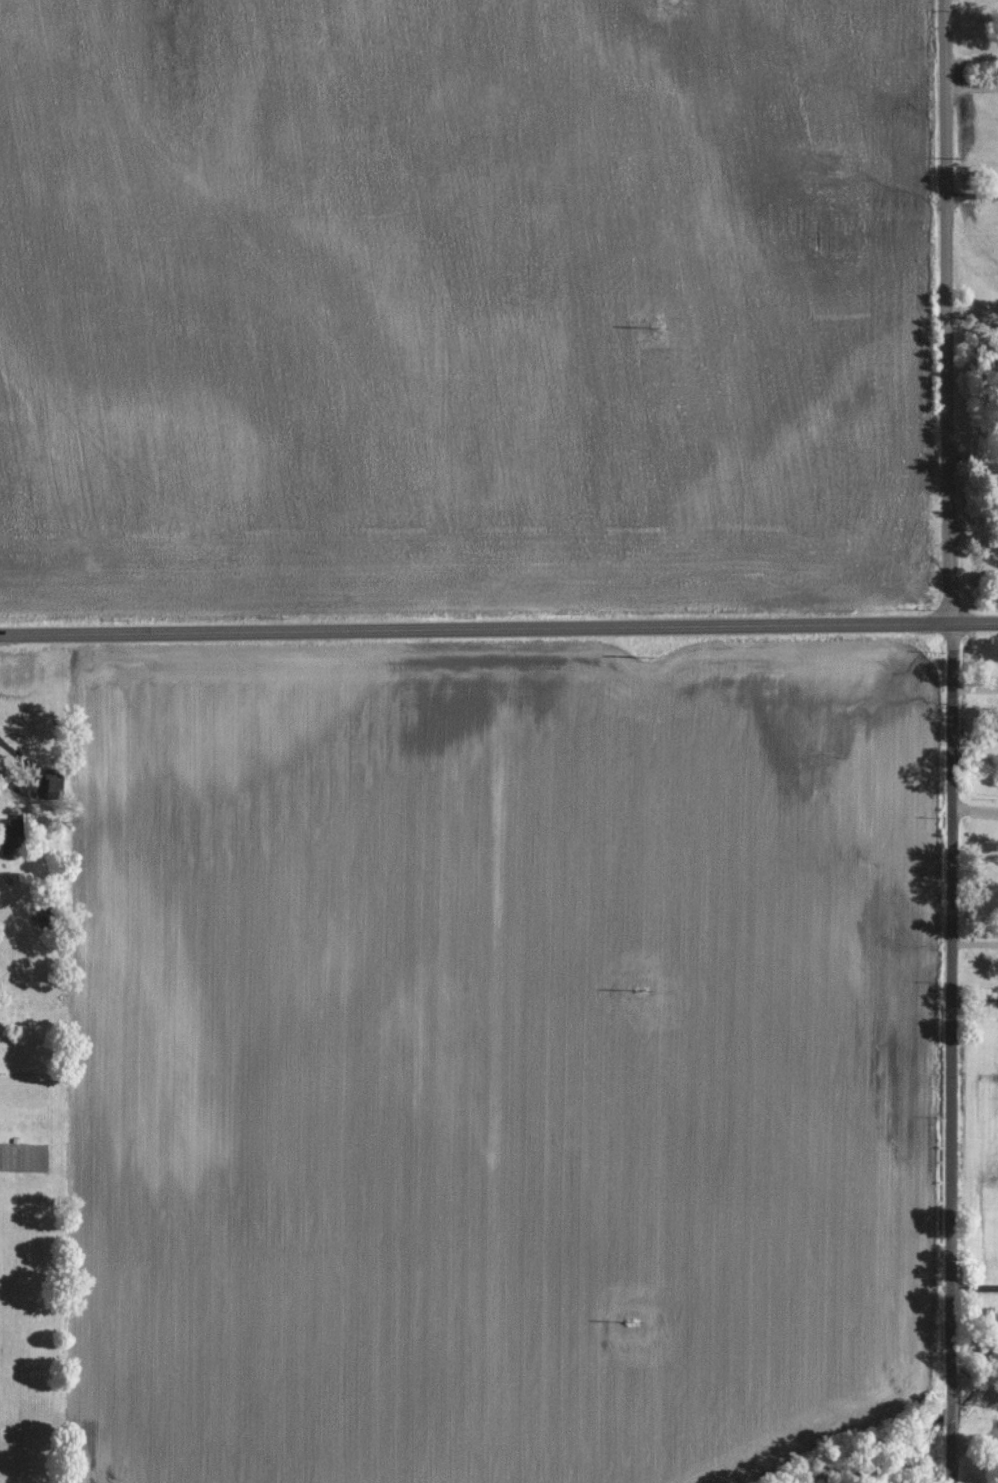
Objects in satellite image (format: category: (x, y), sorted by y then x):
road: (972, 88)
road: (972, 196)
road: (498, 625)
road: (952, 741)
building: (56, 782)
building: (17, 829)
road: (975, 1286)

